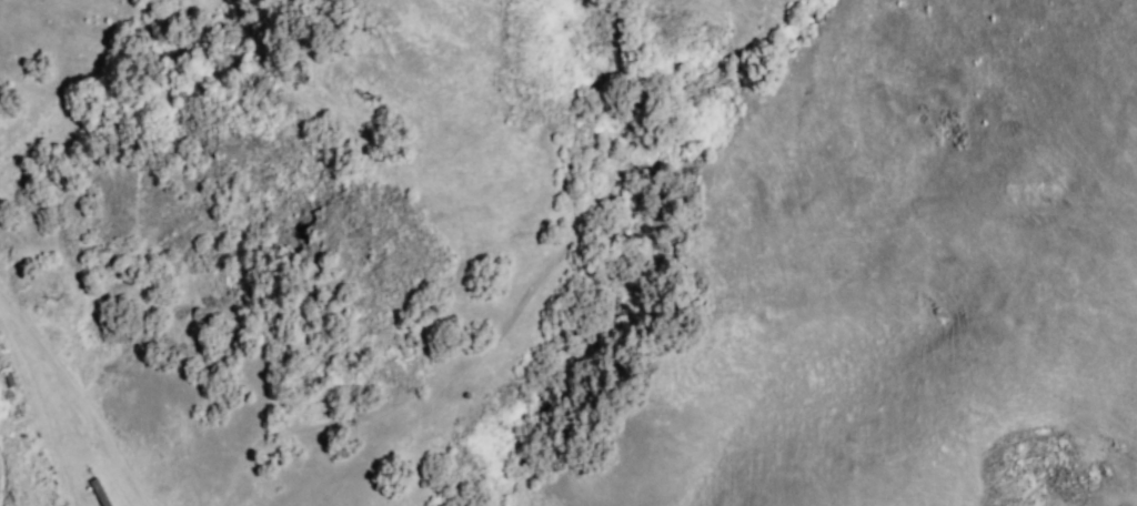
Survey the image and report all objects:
road: (74, 399)

